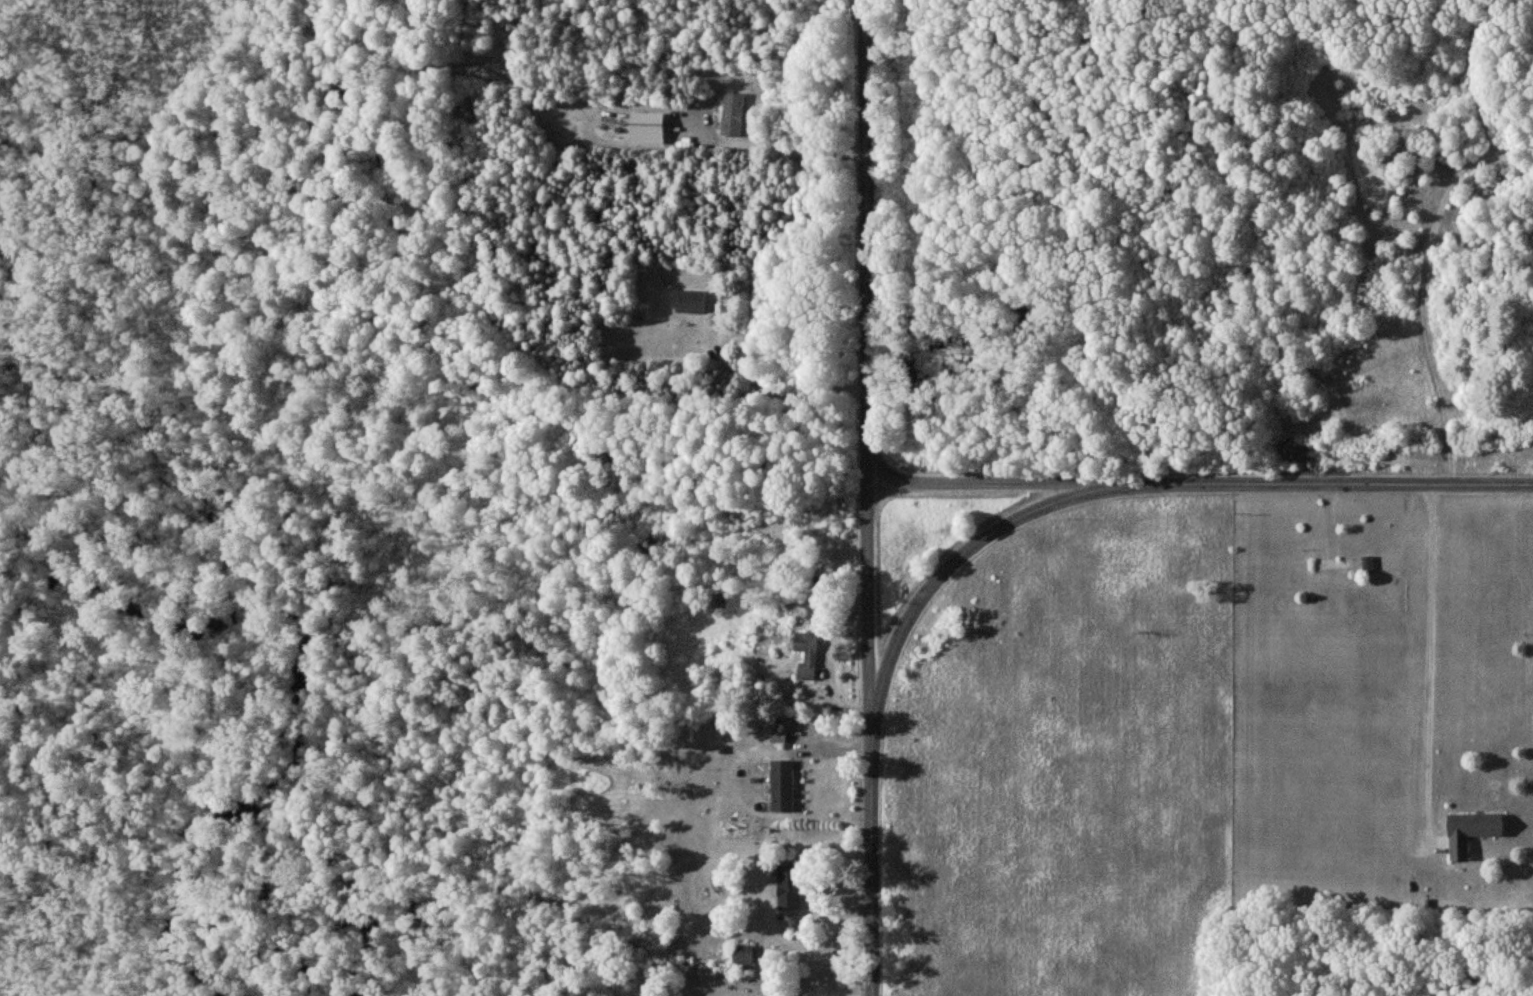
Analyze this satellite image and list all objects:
building: (732, 114)
building: (646, 128)
building: (690, 302)
road: (868, 360)
road: (993, 483)
road: (1325, 487)
road: (953, 560)
building: (806, 654)
road: (1433, 664)
building: (782, 786)
building: (1471, 830)
road: (874, 858)
building: (788, 887)
building: (743, 954)

